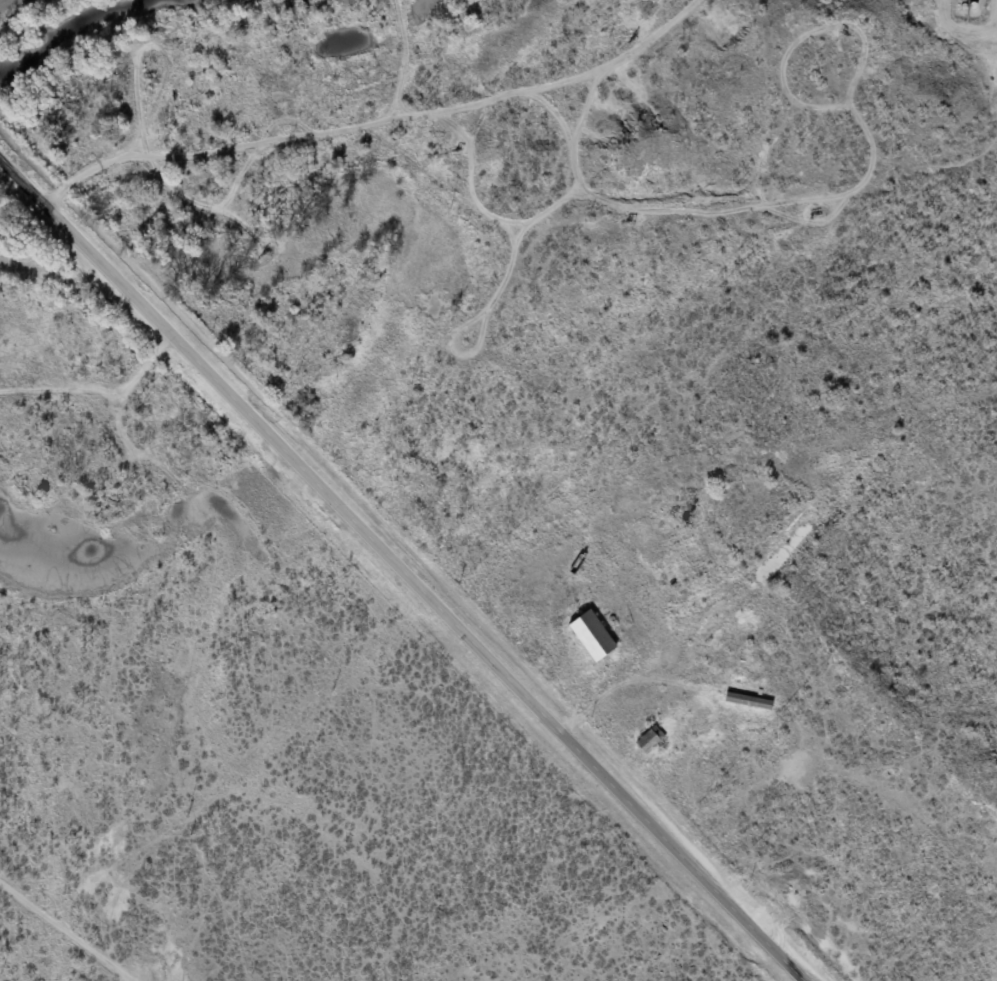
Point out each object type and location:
road: (399, 571)
building: (592, 636)
building: (748, 701)
building: (650, 740)

